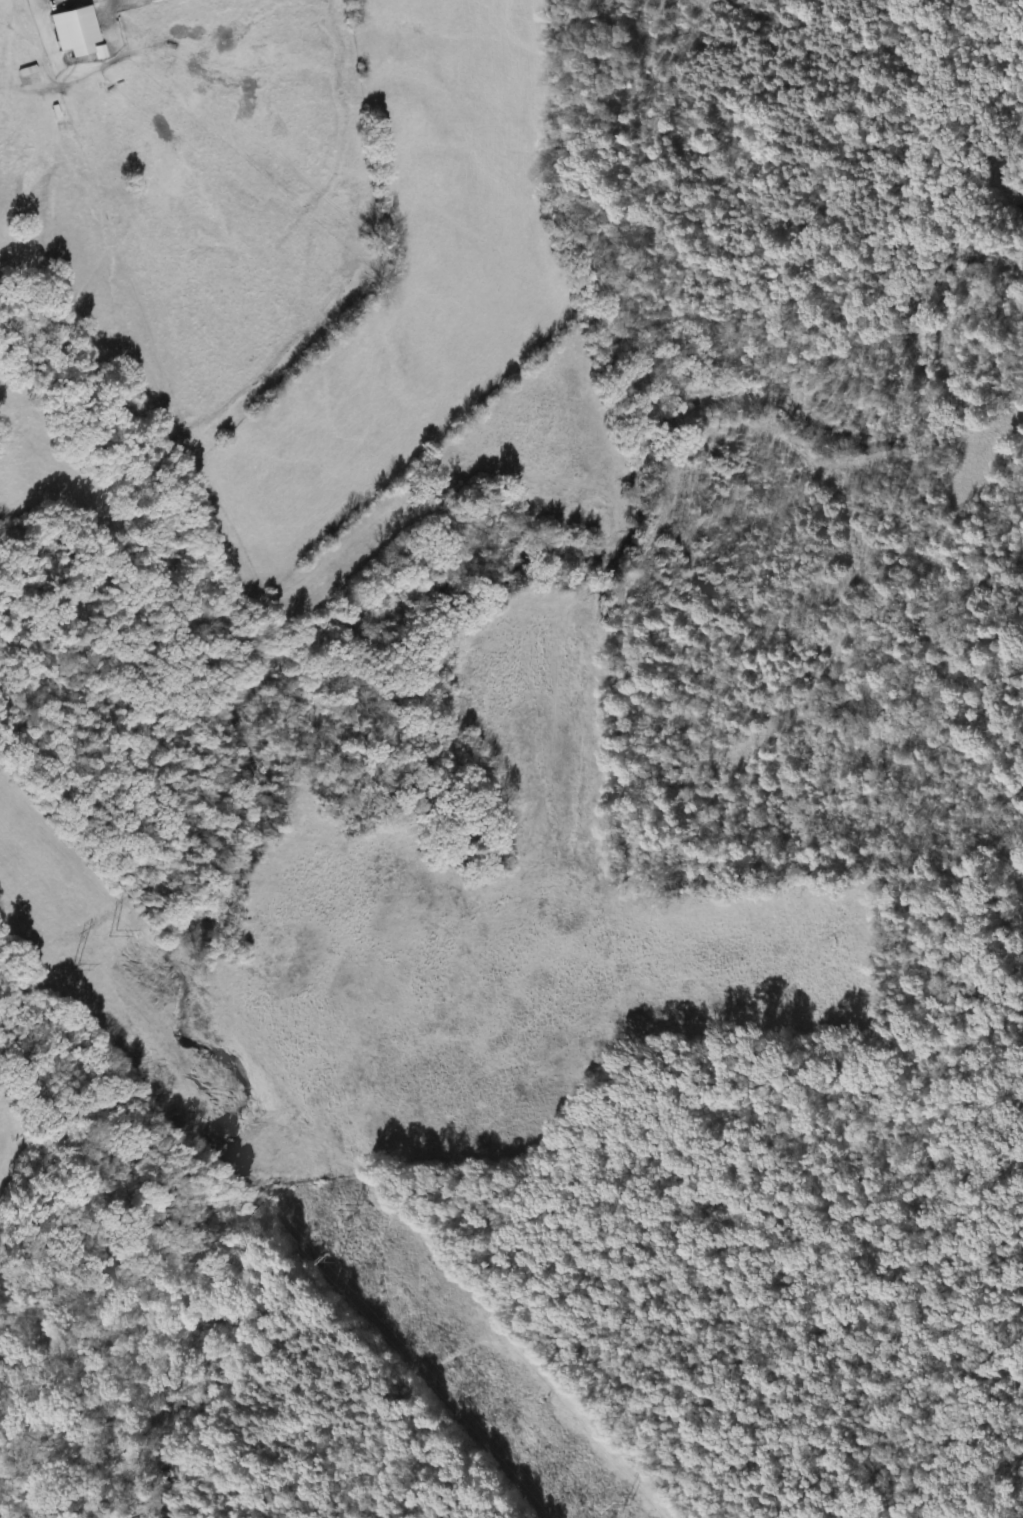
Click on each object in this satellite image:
building: (69, 31)
power tower: (99, 929)
power tower: (57, 964)
power tower: (342, 1204)
power tower: (327, 1259)
power tower: (609, 1504)

